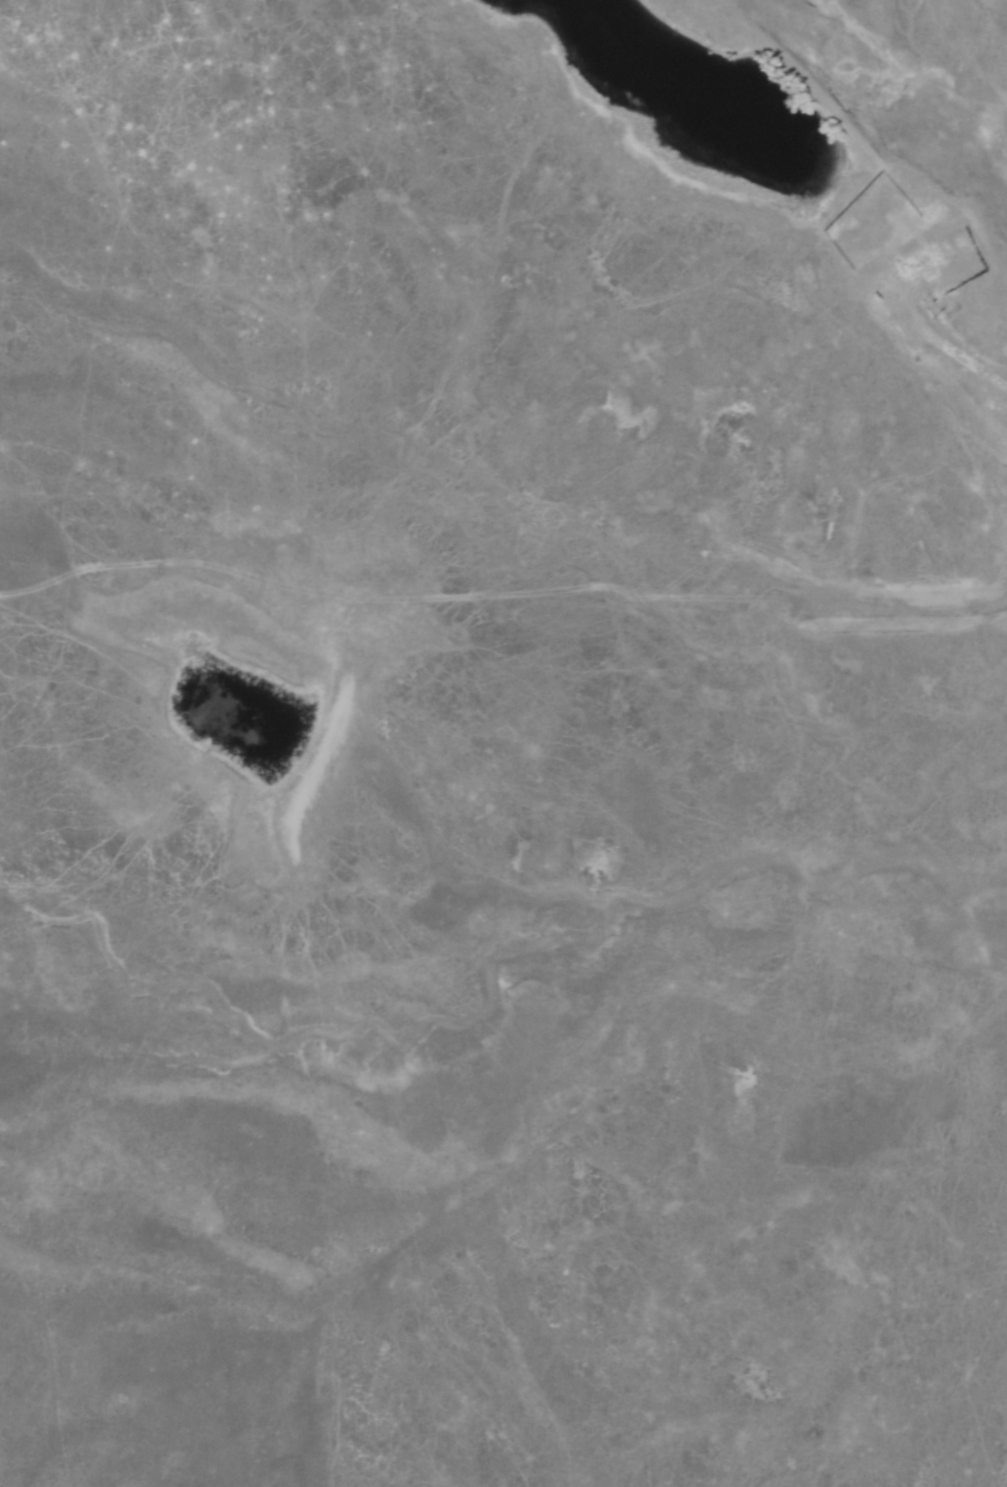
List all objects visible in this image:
road: (947, 348)

